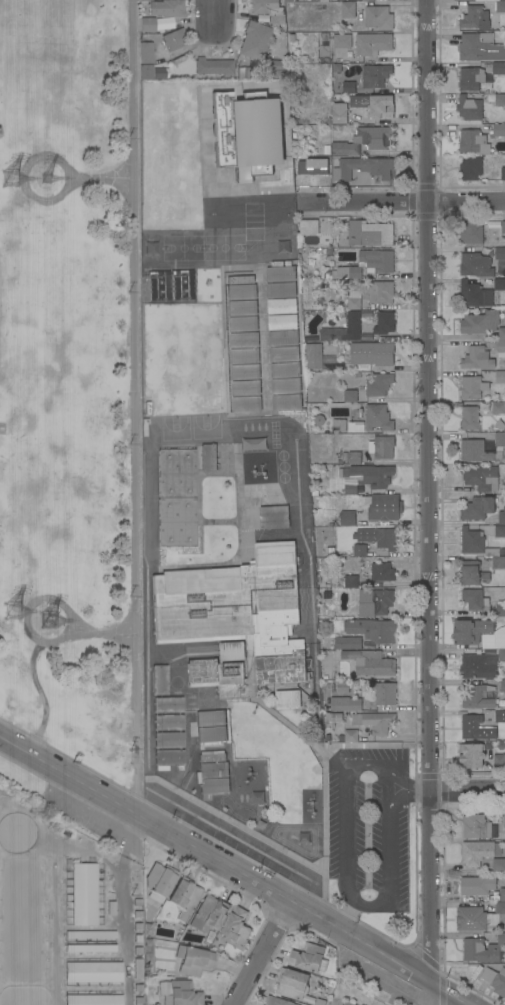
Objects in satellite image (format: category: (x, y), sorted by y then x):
building: (288, 0)
building: (350, 0)
building: (499, 6)
building: (166, 8)
building: (268, 10)
building: (348, 10)
road: (214, 12)
building: (378, 17)
building: (475, 18)
building: (163, 23)
building: (147, 24)
building: (175, 39)
building: (256, 40)
building: (342, 40)
building: (372, 43)
building: (480, 47)
building: (146, 60)
building: (213, 68)
building: (498, 68)
building: (279, 69)
building: (246, 73)
building: (375, 75)
building: (471, 78)
building: (349, 87)
building: (499, 99)
building: (374, 105)
building: (469, 108)
building: (339, 116)
building: (498, 130)
building: (254, 136)
building: (364, 140)
building: (473, 142)
road: (42, 158)
building: (362, 168)
building: (471, 168)
building: (503, 173)
power tower: (50, 178)
power tower: (20, 183)
road: (404, 199)
building: (308, 227)
building: (503, 227)
building: (471, 232)
building: (369, 233)
park: (182, 247)
park: (223, 247)
building: (499, 253)
building: (377, 261)
building: (475, 264)
building: (349, 271)
building: (280, 273)
building: (240, 279)
building: (499, 284)
building: (169, 285)
building: (281, 290)
building: (241, 292)
building: (380, 292)
building: (477, 295)
building: (328, 296)
building: (353, 299)
building: (282, 306)
building: (242, 308)
building: (282, 322)
building: (480, 322)
building: (384, 323)
building: (243, 324)
building: (347, 328)
building: (283, 338)
building: (244, 340)
building: (501, 342)
building: (372, 353)
building: (283, 354)
road: (133, 355)
building: (244, 355)
building: (314, 356)
building: (477, 358)
building: (285, 370)
building: (245, 372)
building: (500, 377)
park: (71, 380)
building: (379, 384)
building: (286, 386)
building: (473, 387)
building: (246, 388)
building: (350, 396)
building: (287, 402)
building: (246, 404)
building: (498, 407)
building: (378, 417)
building: (469, 417)
building: (339, 425)
park: (205, 426)
park: (175, 428)
building: (500, 439)
road: (202, 441)
building: (383, 447)
building: (477, 451)
building: (208, 457)
building: (354, 458)
building: (373, 475)
building: (482, 478)
building: (351, 488)
road: (427, 489)
building: (176, 497)
building: (382, 506)
building: (478, 508)
building: (501, 516)
building: (274, 517)
building: (347, 518)
building: (500, 531)
building: (377, 537)
building: (476, 543)
building: (360, 550)
building: (498, 562)
building: (382, 572)
building: (474, 575)
building: (346, 581)
building: (474, 598)
road: (50, 599)
building: (378, 602)
building: (500, 610)
power tower: (17, 613)
building: (235, 619)
power tower: (52, 621)
building: (372, 629)
building: (470, 631)
building: (498, 638)
building: (348, 643)
building: (232, 651)
building: (502, 654)
building: (370, 662)
building: (478, 666)
building: (160, 679)
building: (501, 685)
building: (342, 686)
building: (385, 694)
road: (184, 695)
building: (480, 697)
building: (288, 700)
building: (168, 704)
building: (345, 704)
building: (211, 718)
building: (500, 719)
building: (168, 722)
building: (375, 722)
building: (476, 728)
building: (211, 734)
building: (350, 735)
building: (169, 740)
road: (134, 753)
building: (471, 755)
building: (211, 757)
building: (169, 759)
building: (499, 760)
building: (213, 770)
road: (407, 783)
building: (213, 786)
road: (388, 786)
road: (467, 790)
road: (408, 795)
road: (148, 803)
road: (346, 811)
building: (504, 821)
parking lot: (368, 826)
building: (476, 826)
road: (240, 840)
building: (479, 851)
building: (498, 863)
road: (234, 868)
road: (388, 870)
building: (158, 882)
building: (477, 885)
building: (84, 893)
building: (502, 894)
building: (184, 897)
building: (137, 902)
building: (137, 914)
building: (208, 914)
road: (347, 915)
building: (480, 917)
building: (137, 925)
building: (236, 926)
building: (91, 934)
building: (138, 937)
building: (90, 948)
building: (484, 949)
road: (261, 952)
building: (307, 957)
building: (193, 959)
building: (94, 971)
building: (495, 980)
building: (292, 983)
building: (138, 987)
building: (182, 994)
building: (93, 999)
building: (139, 1000)
building: (277, 1001)
building: (346, 1004)

